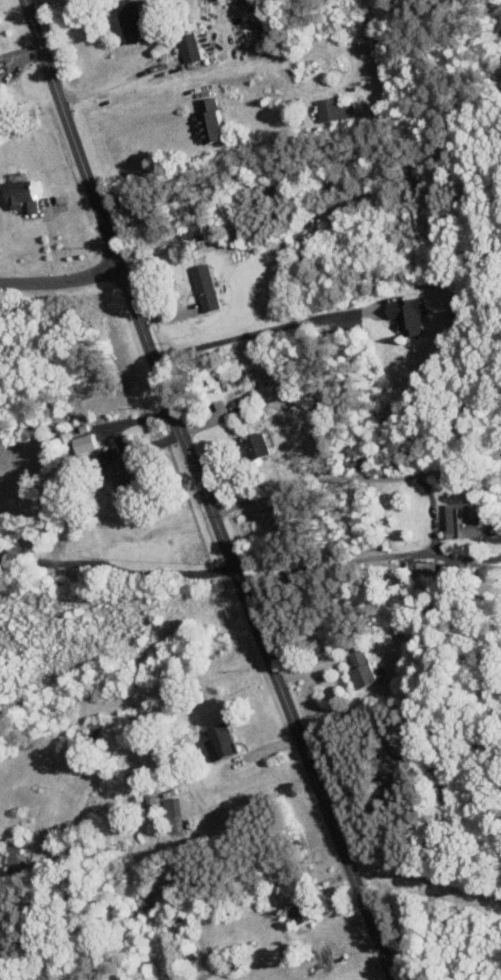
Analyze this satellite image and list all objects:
building: (130, 21)
building: (188, 49)
road: (117, 82)
building: (332, 110)
building: (207, 123)
building: (21, 195)
road: (61, 283)
building: (204, 286)
building: (407, 314)
road: (260, 330)
road: (118, 439)
building: (253, 445)
building: (118, 471)
road: (356, 479)
road: (204, 491)
building: (461, 520)
road: (373, 558)
building: (359, 668)
building: (218, 741)
building: (171, 814)
building: (13, 857)
building: (299, 913)

